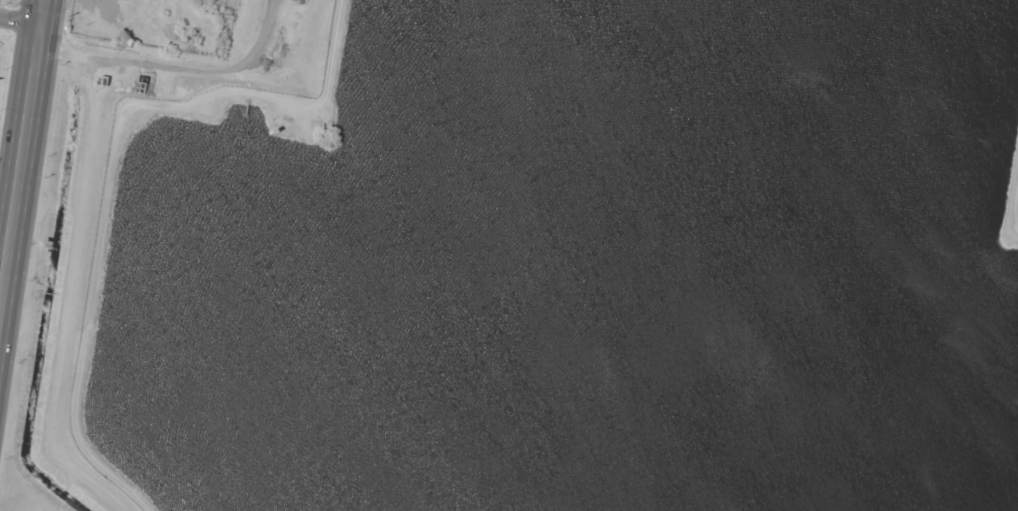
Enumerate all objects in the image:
road: (21, 23)
road: (23, 159)
wastewater plant: (589, 269)

